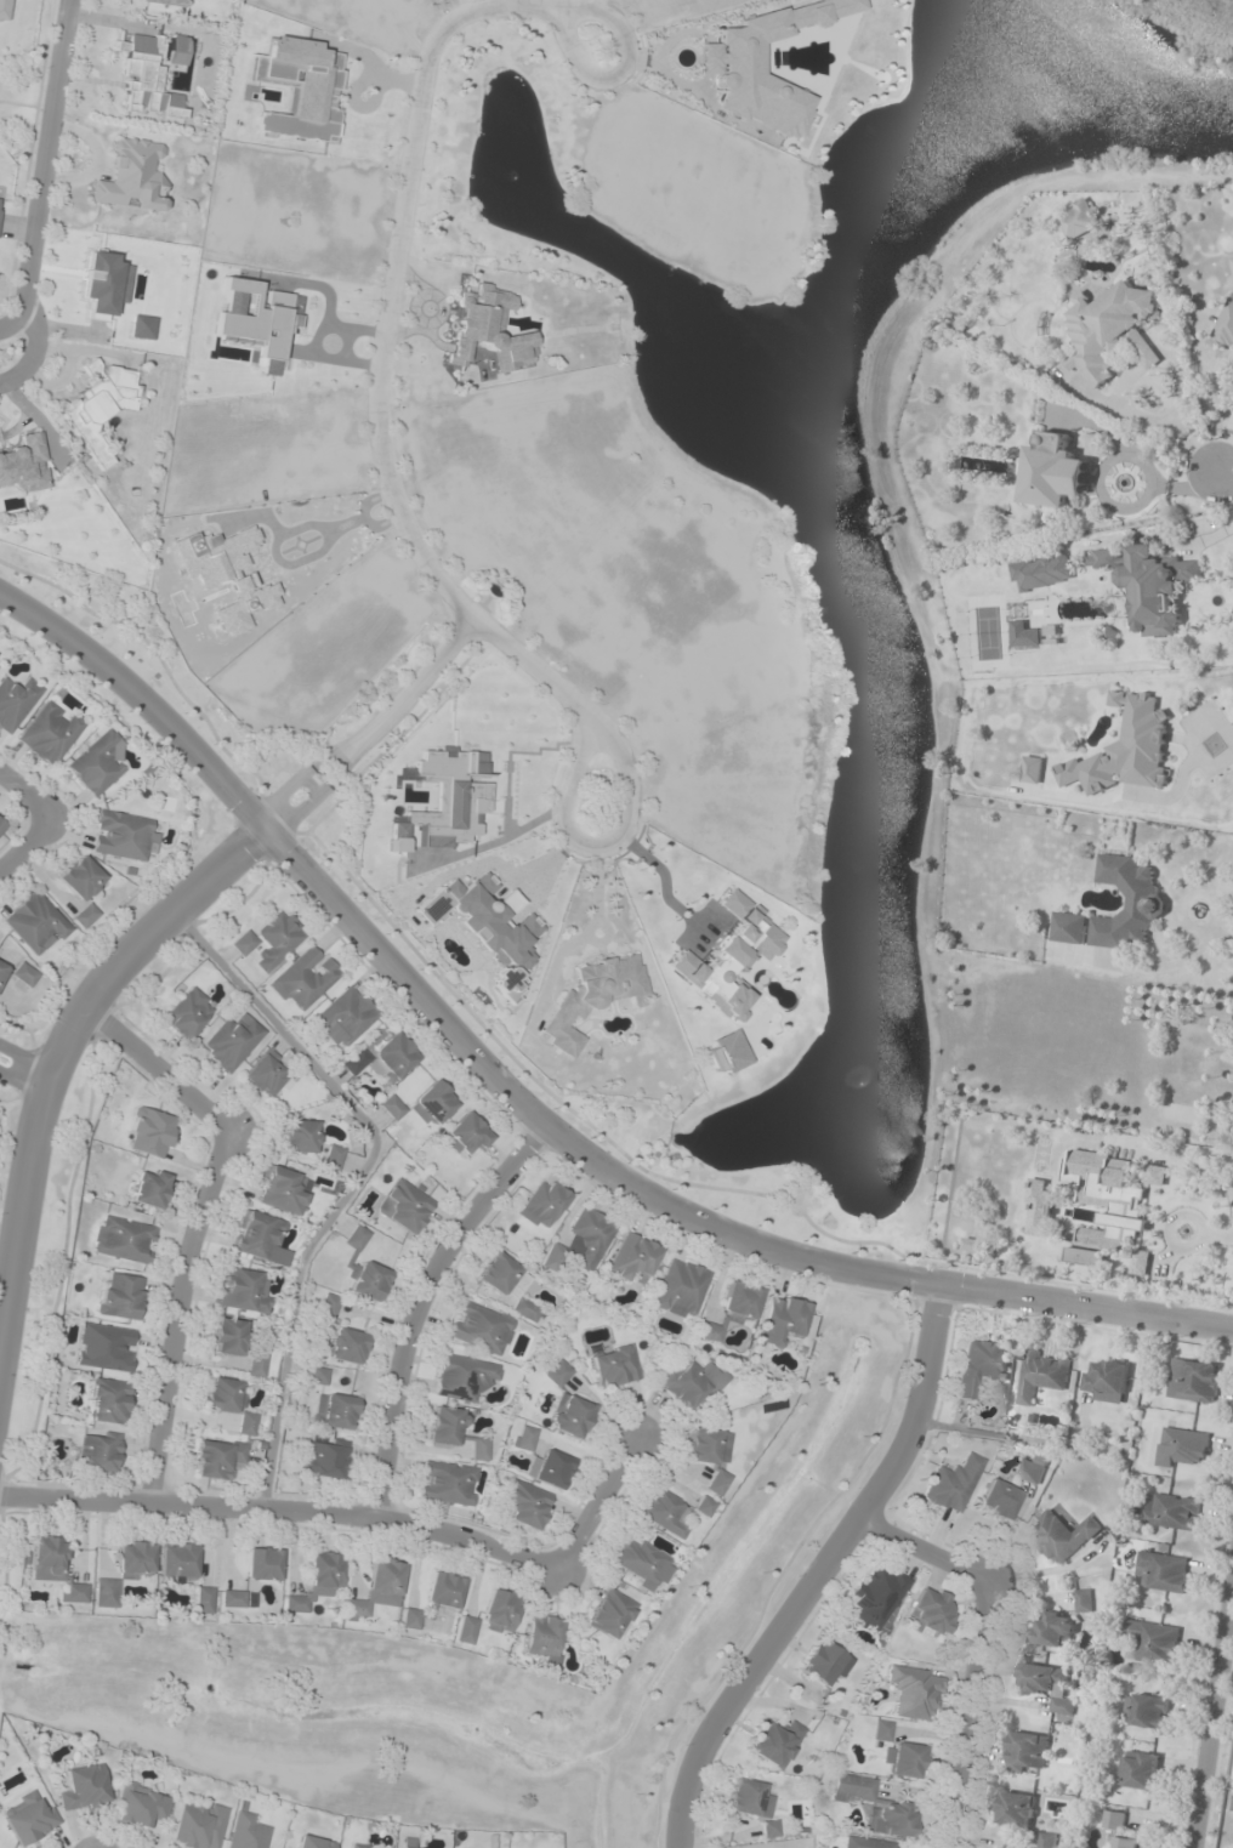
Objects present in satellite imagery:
building: (165, 2)
building: (175, 46)
building: (728, 59)
building: (144, 79)
building: (299, 87)
road: (407, 159)
road: (41, 167)
building: (129, 176)
building: (1079, 220)
building: (1226, 325)
building: (488, 329)
building: (1110, 331)
road: (34, 348)
building: (98, 408)
building: (24, 465)
building: (1055, 472)
road: (1226, 476)
building: (1150, 585)
building: (15, 701)
road: (368, 721)
building: (47, 734)
building: (1126, 751)
building: (96, 763)
building: (1033, 771)
road: (626, 789)
road: (25, 797)
building: (0, 826)
building: (121, 835)
road: (25, 843)
building: (79, 877)
building: (1127, 904)
building: (84, 915)
building: (33, 921)
building: (487, 928)
building: (1069, 928)
building: (277, 939)
building: (243, 942)
building: (729, 959)
building: (1, 970)
building: (23, 974)
building: (303, 978)
building: (593, 996)
building: (187, 1013)
building: (343, 1017)
building: (231, 1041)
road: (62, 1045)
building: (726, 1052)
building: (385, 1058)
building: (1192, 1064)
road: (23, 1071)
building: (265, 1074)
building: (431, 1104)
building: (391, 1107)
road: (534, 1111)
building: (148, 1132)
building: (465, 1135)
building: (299, 1136)
building: (333, 1156)
building: (1157, 1175)
road: (357, 1176)
building: (149, 1188)
building: (283, 1190)
building: (1107, 1198)
building: (542, 1204)
building: (404, 1205)
building: (1039, 1209)
road: (195, 1221)
building: (257, 1235)
building: (356, 1236)
building: (590, 1238)
building: (123, 1239)
building: (973, 1244)
building: (553, 1257)
building: (632, 1257)
building: (1085, 1257)
building: (1141, 1263)
building: (501, 1274)
building: (368, 1280)
building: (680, 1289)
building: (243, 1290)
building: (120, 1296)
road: (420, 1302)
building: (739, 1302)
building: (328, 1304)
building: (525, 1309)
building: (782, 1320)
building: (481, 1327)
building: (709, 1331)
building: (237, 1344)
building: (347, 1346)
building: (104, 1347)
building: (613, 1365)
building: (979, 1366)
building: (557, 1372)
building: (318, 1375)
building: (1041, 1375)
building: (462, 1377)
building: (1106, 1377)
building: (1193, 1381)
building: (691, 1383)
building: (108, 1401)
building: (229, 1401)
building: (334, 1410)
building: (569, 1415)
building: (445, 1426)
building: (525, 1438)
building: (706, 1445)
building: (1181, 1446)
building: (479, 1448)
building: (98, 1450)
building: (217, 1459)
building: (324, 1459)
building: (551, 1468)
building: (1033, 1469)
building: (447, 1483)
building: (717, 1483)
building: (953, 1484)
building: (998, 1499)
building: (525, 1503)
road: (596, 1506)
building: (704, 1506)
road: (282, 1509)
building: (664, 1511)
building: (1171, 1512)
building: (1061, 1535)
building: (50, 1557)
building: (135, 1560)
building: (642, 1560)
building: (177, 1562)
building: (262, 1564)
road: (819, 1570)
building: (1163, 1571)
building: (318, 1581)
building: (379, 1588)
building: (443, 1591)
building: (106, 1592)
building: (73, 1593)
building: (877, 1597)
building: (233, 1598)
building: (204, 1599)
building: (1084, 1600)
building: (500, 1610)
building: (931, 1611)
building: (610, 1613)
building: (411, 1619)
building: (466, 1630)
building: (1055, 1630)
building: (542, 1636)
road: (978, 1641)
building: (1150, 1642)
building: (822, 1664)
building: (1040, 1677)
building: (914, 1691)
road: (1211, 1704)
building: (1062, 1706)
building: (1146, 1711)
building: (882, 1730)
building: (774, 1742)
building: (1027, 1751)
building: (905, 1759)
building: (1138, 1770)
building: (84, 1789)
building: (749, 1798)
building: (141, 1804)
building: (873, 1806)
building: (1016, 1809)
building: (29, 1818)
building: (197, 1824)
building: (771, 1829)
building: (1120, 1831)
building: (248, 1832)
building: (1046, 1841)
building: (313, 1842)
building: (865, 1843)
building: (359, 1846)
building: (399, 1847)

